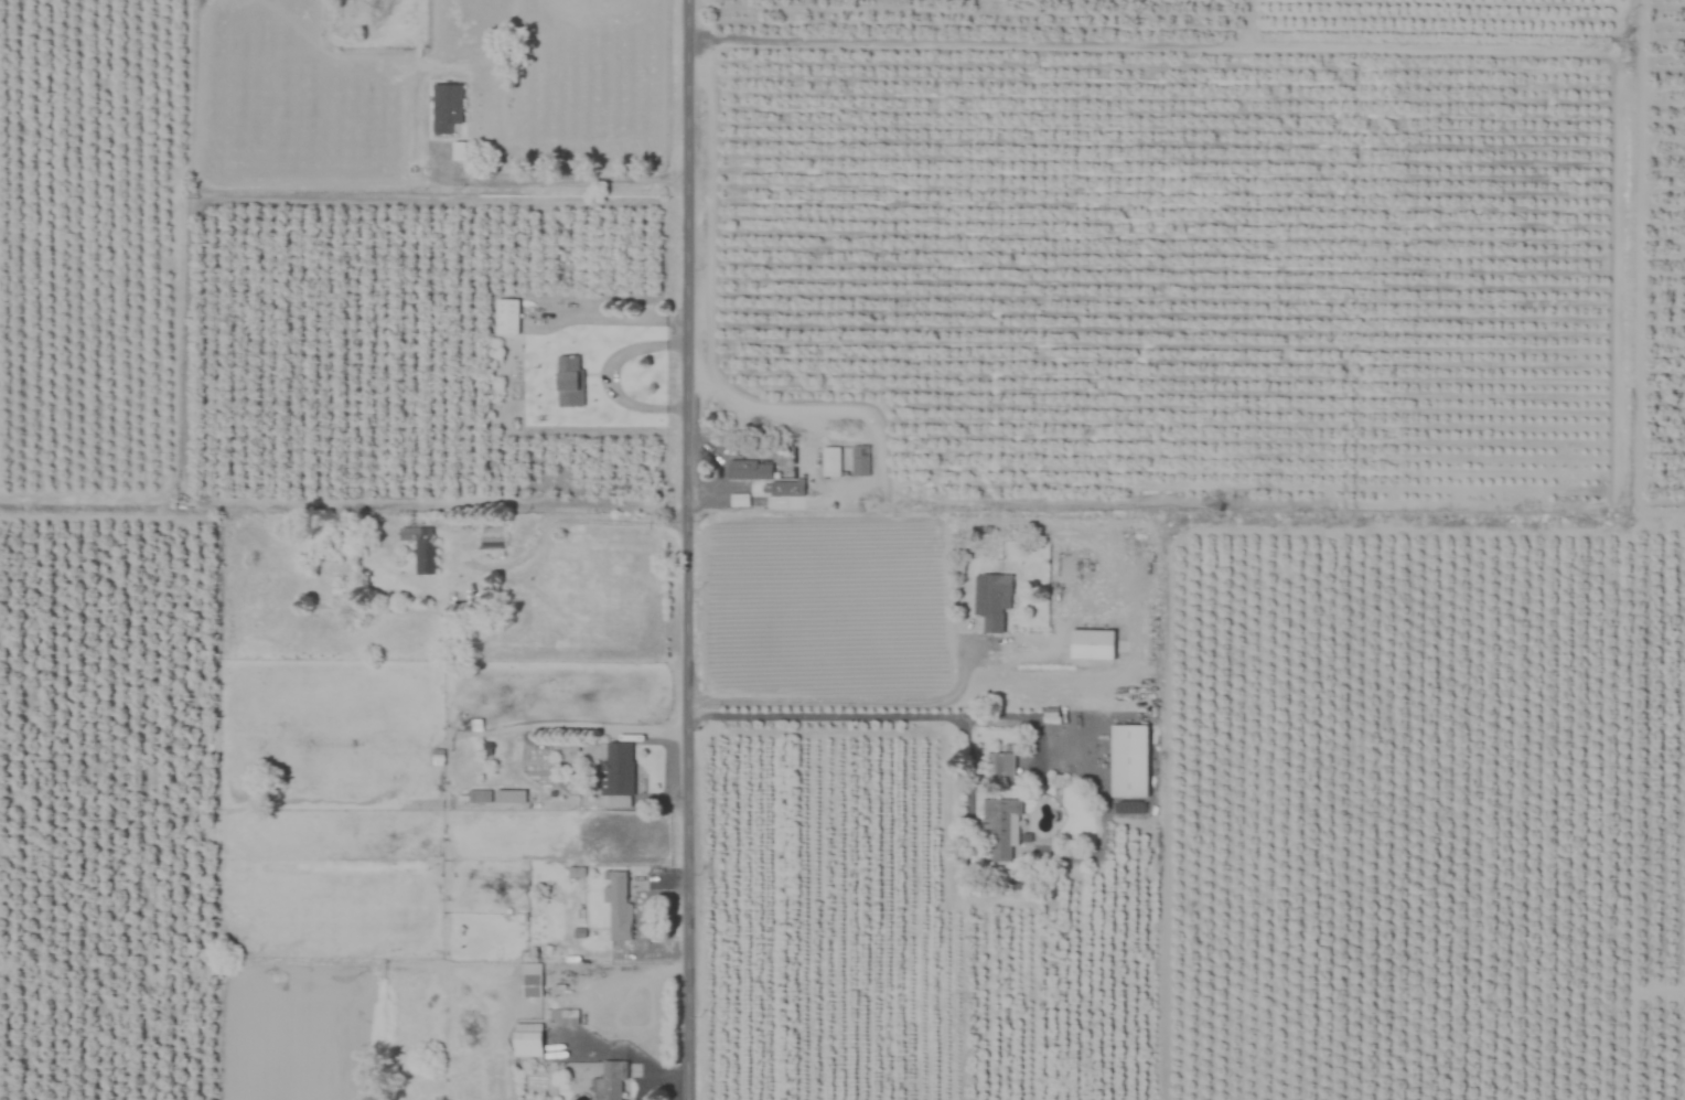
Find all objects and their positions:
building: (446, 107)
road: (575, 177)
building: (568, 381)
building: (859, 460)
building: (830, 461)
building: (756, 470)
building: (786, 489)
building: (491, 543)
building: (420, 548)
road: (687, 549)
building: (991, 600)
building: (1092, 644)
road: (842, 699)
road: (858, 716)
building: (1129, 760)
building: (1000, 765)
building: (616, 775)
building: (508, 795)
building: (999, 831)
road: (1044, 863)
building: (618, 906)
building: (530, 986)
building: (526, 1039)
building: (611, 1081)

